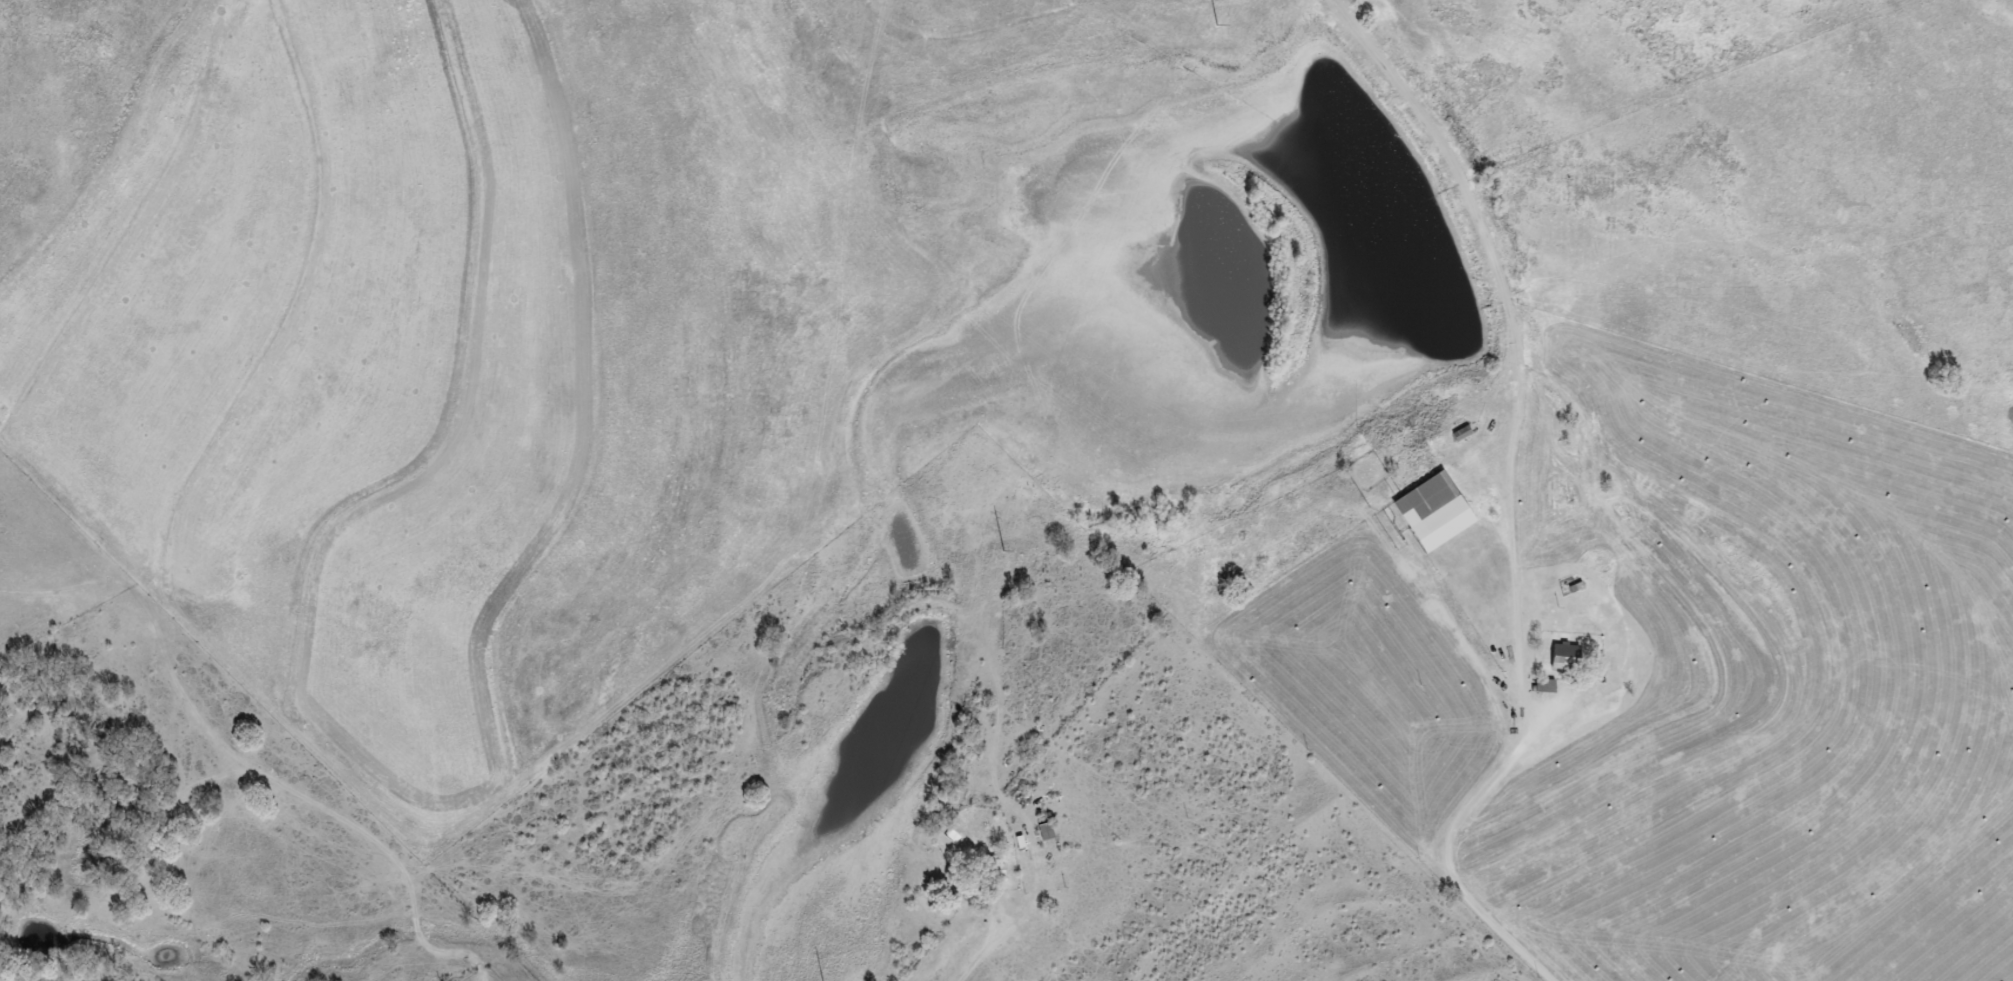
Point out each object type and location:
building: (1427, 513)
building: (1559, 658)
building: (1539, 687)
road: (1467, 799)
building: (1042, 832)
building: (990, 871)
road: (968, 977)

